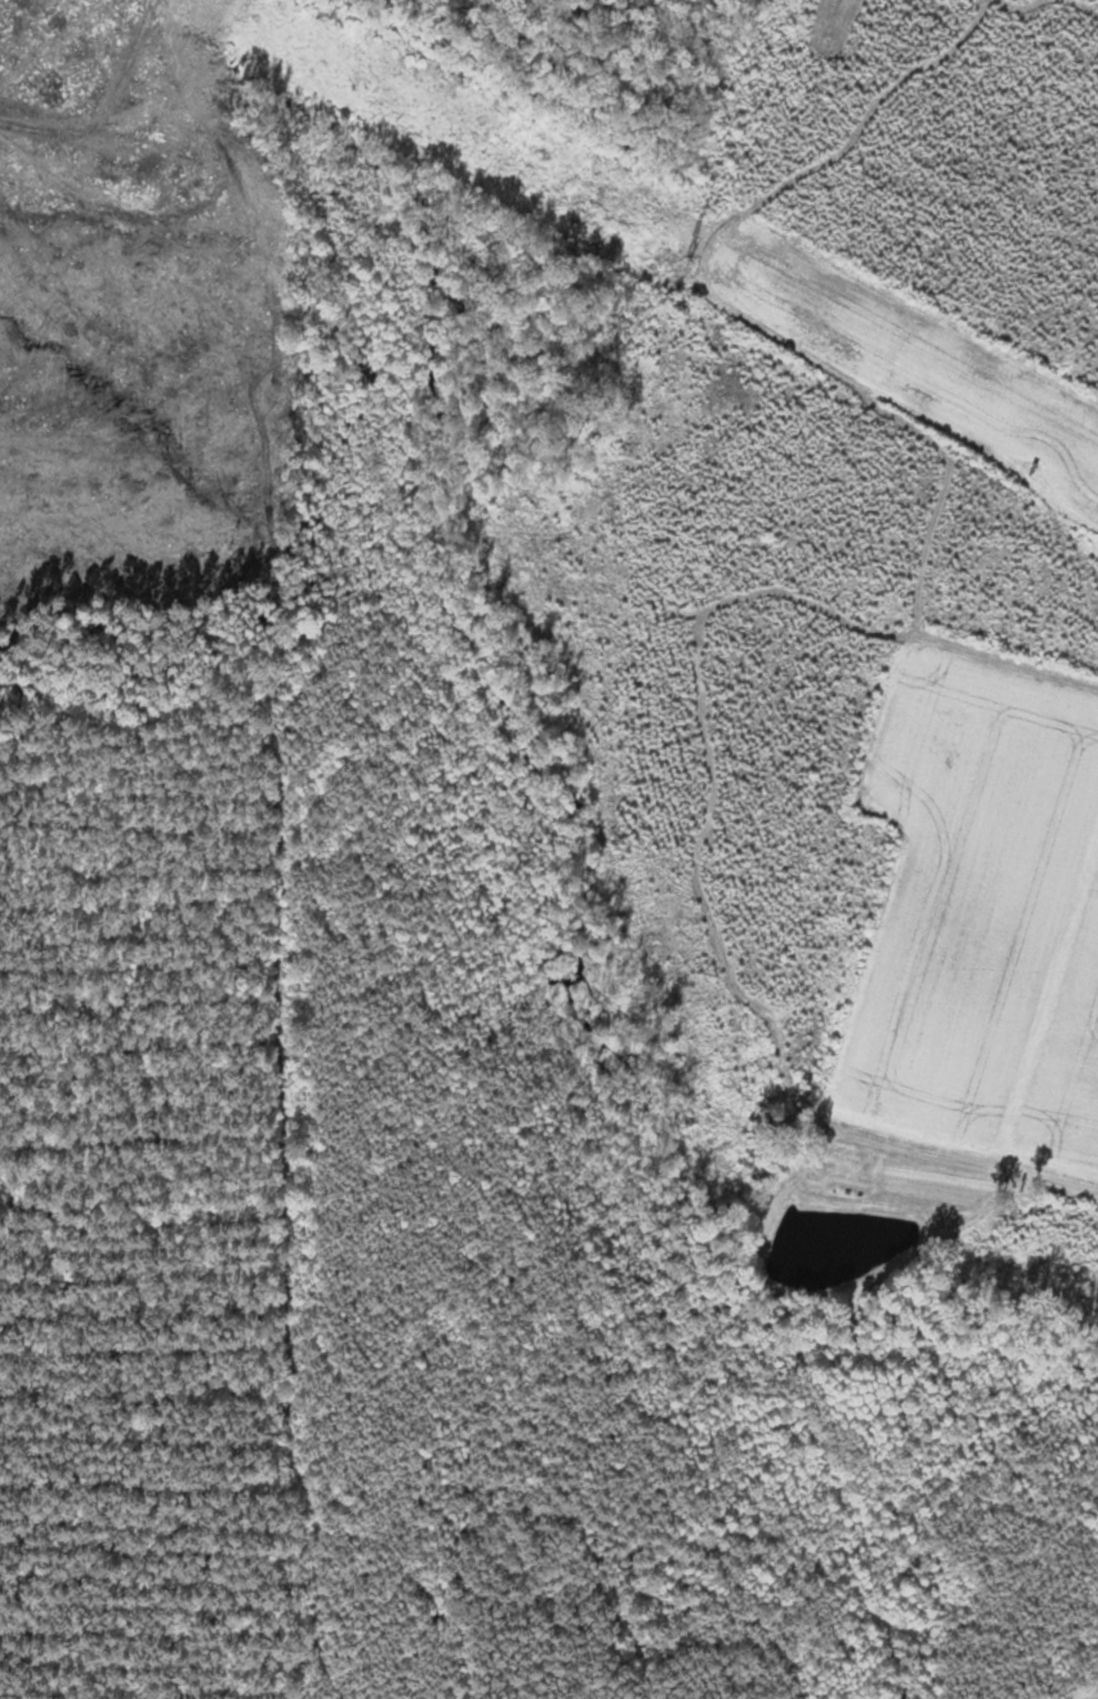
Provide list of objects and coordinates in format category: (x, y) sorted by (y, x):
power tower: (692, 252)

